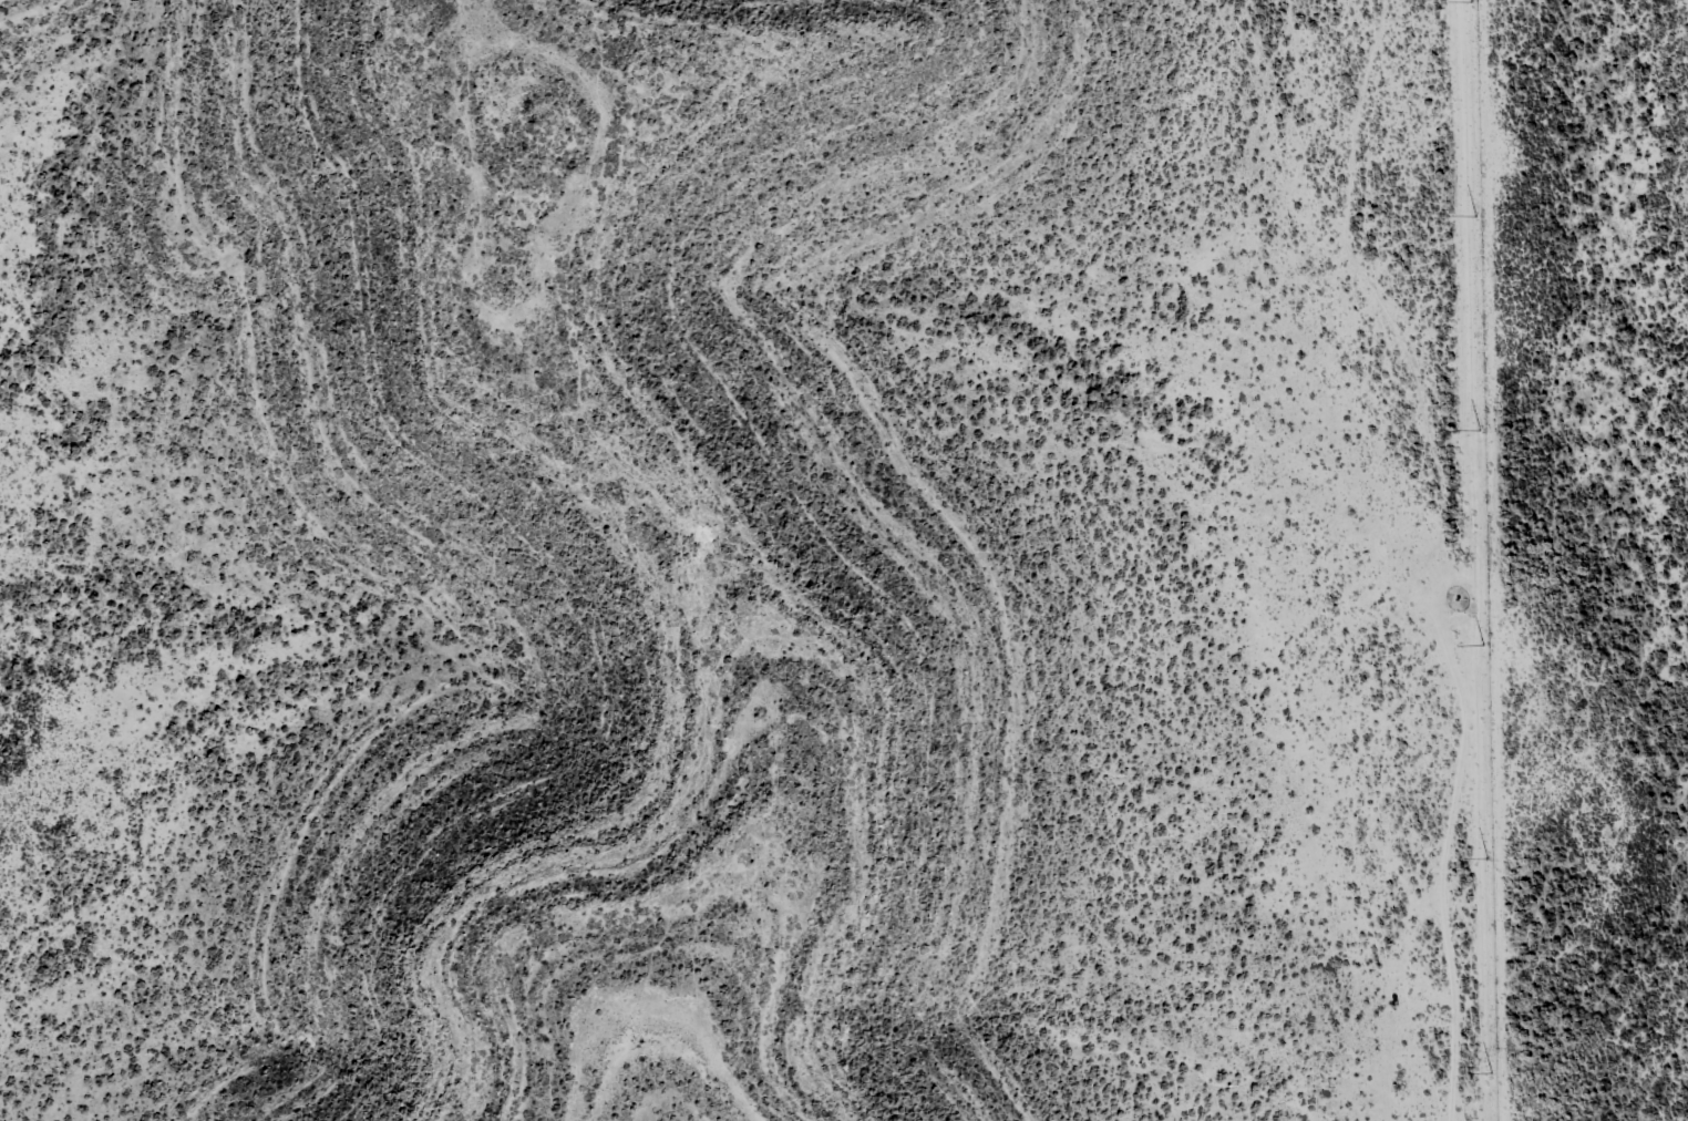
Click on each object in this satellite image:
power tower: (1469, 0)
power tower: (1474, 215)
power tower: (1479, 429)
power tower: (1485, 642)
power tower: (1486, 856)
power tower: (1488, 1070)

